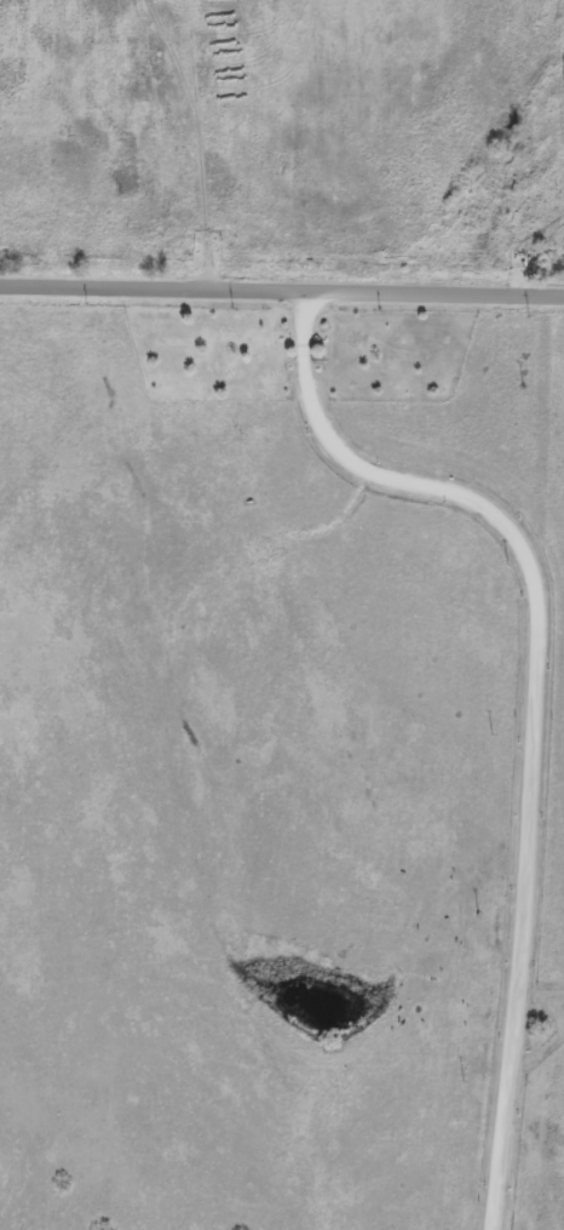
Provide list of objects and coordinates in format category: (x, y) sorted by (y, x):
road: (281, 298)
road: (526, 697)

